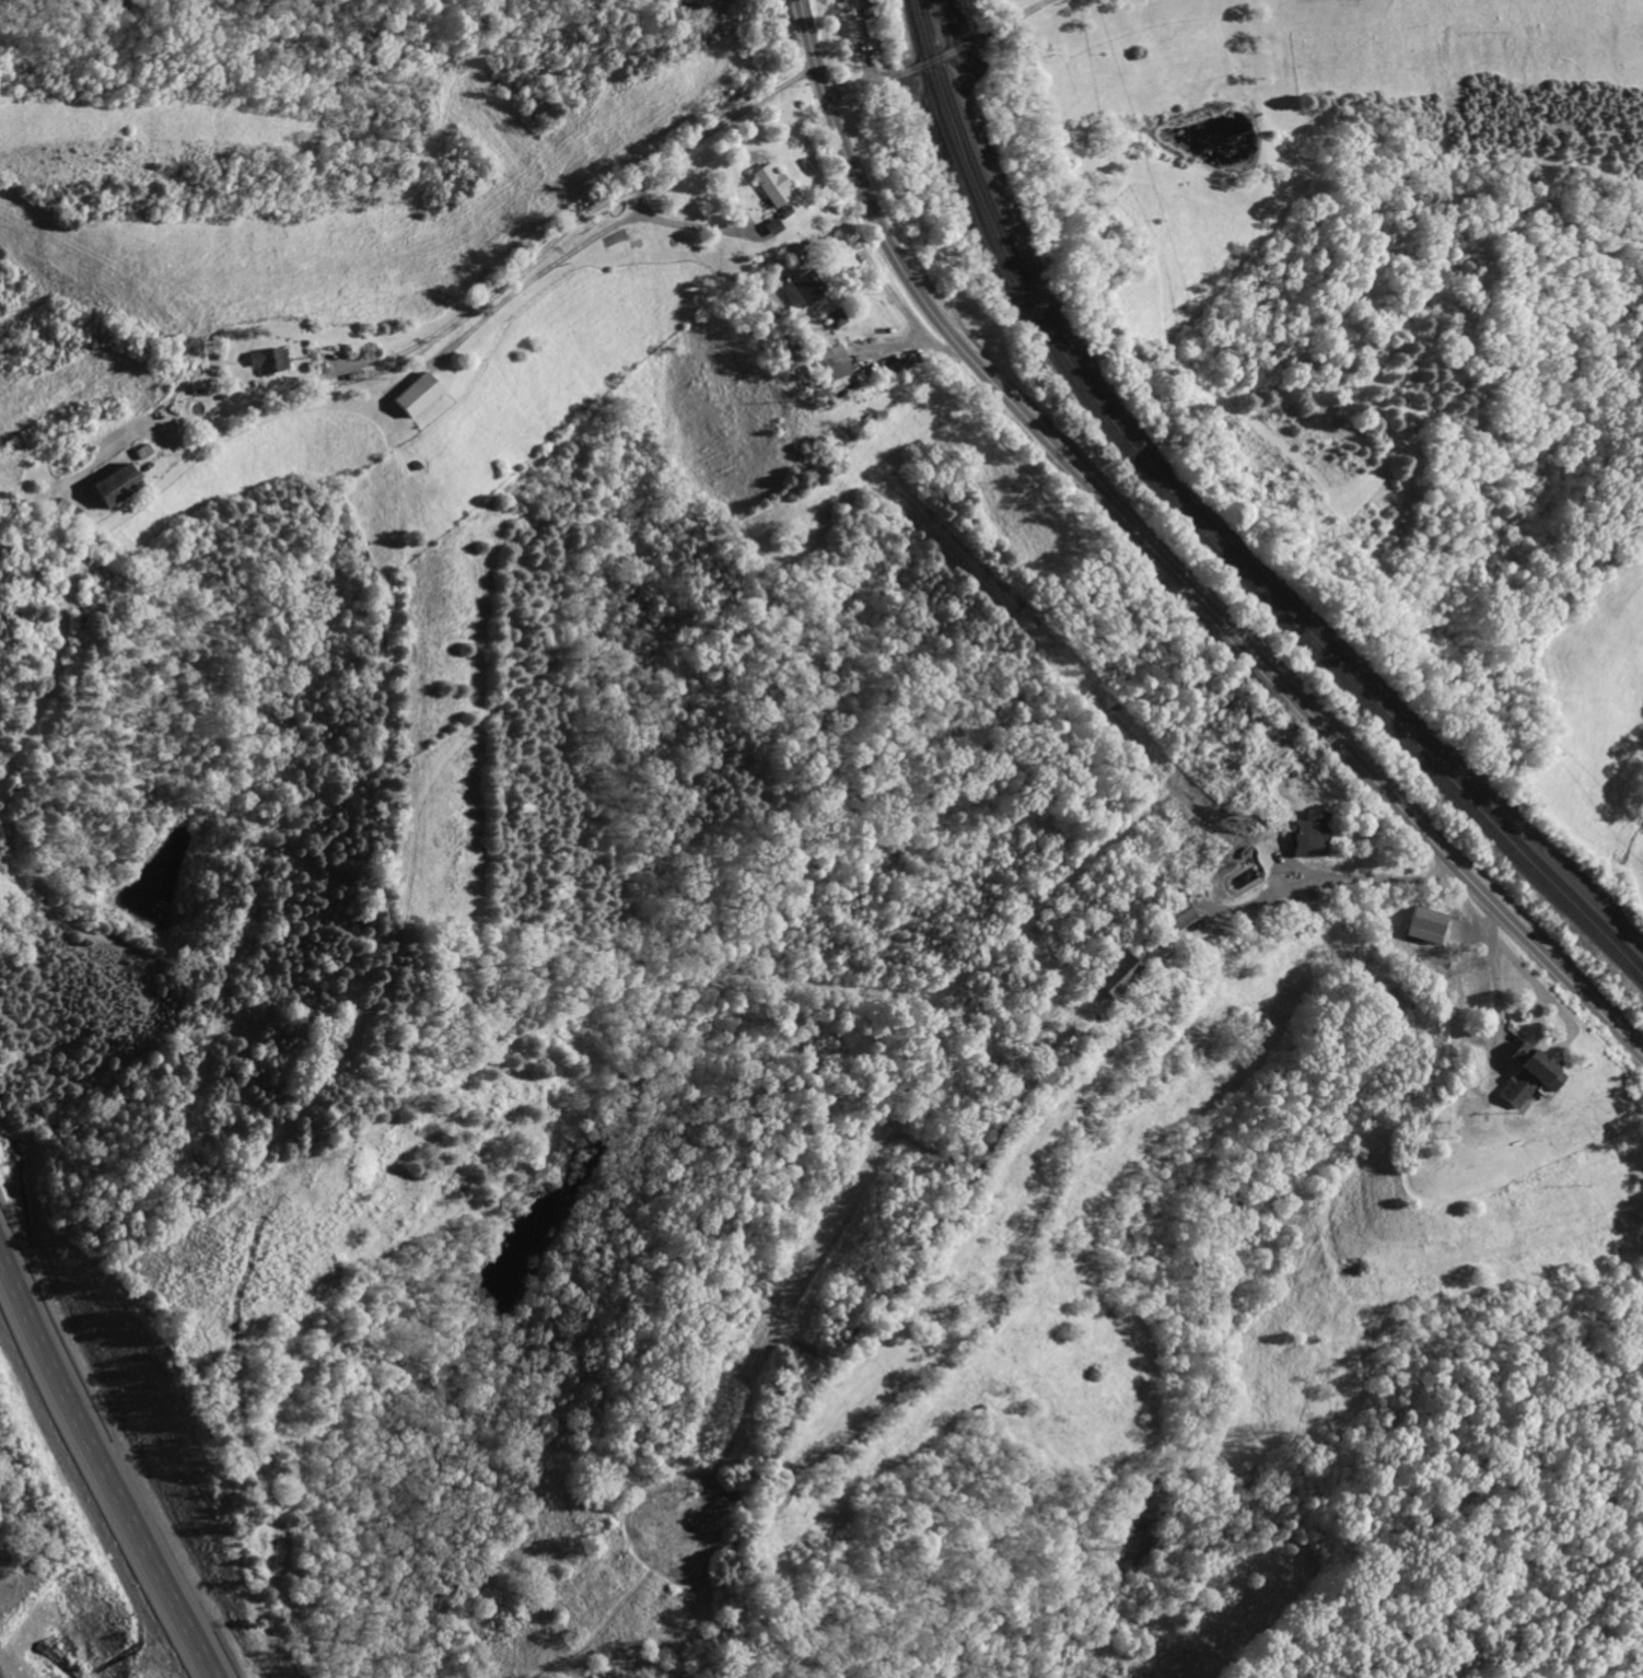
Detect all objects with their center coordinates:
road: (912, 68)
road: (678, 153)
building: (765, 183)
building: (767, 226)
building: (796, 290)
building: (264, 359)
building: (831, 365)
building: (411, 394)
building: (103, 483)
building: (60, 510)
railway: (1213, 528)
railway: (1207, 536)
road: (1166, 563)
road: (1221, 795)
building: (1301, 832)
building: (1170, 917)
building: (1426, 925)
building: (1105, 974)
building: (1520, 1075)
road: (115, 1447)

